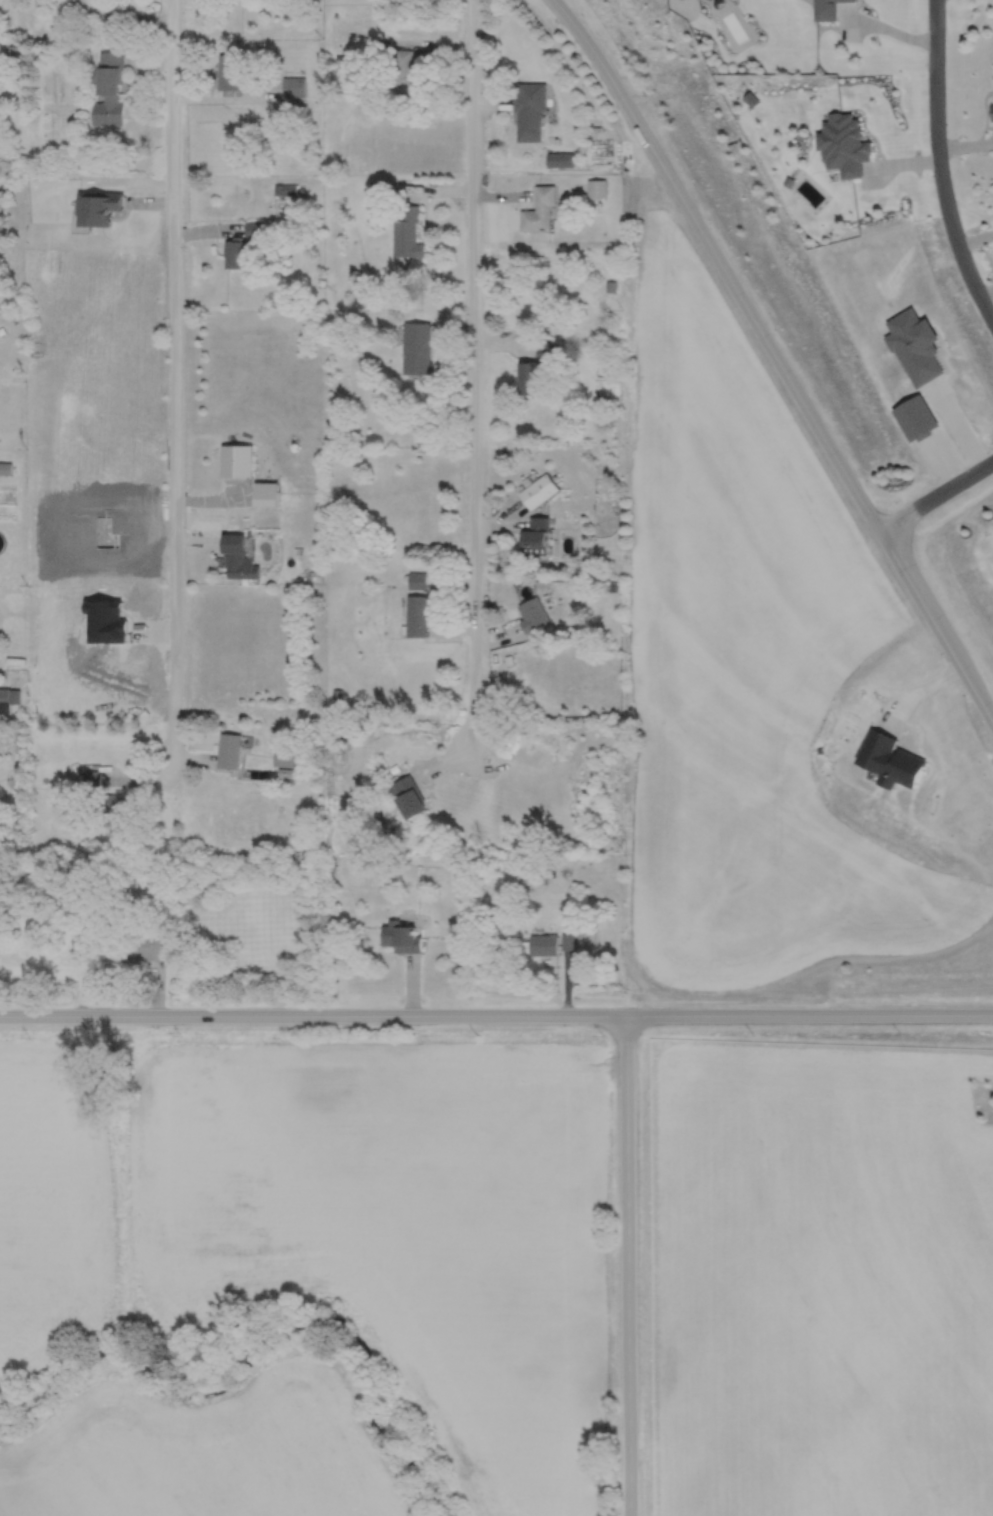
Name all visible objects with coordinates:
road: (675, 4)
road: (123, 17)
building: (230, 71)
building: (407, 71)
building: (292, 87)
building: (109, 91)
building: (527, 112)
road: (938, 159)
building: (554, 160)
building: (595, 189)
building: (538, 211)
building: (251, 230)
building: (407, 234)
building: (235, 255)
building: (416, 349)
road: (778, 358)
building: (535, 370)
road: (472, 375)
road: (175, 379)
building: (236, 462)
building: (5, 469)
building: (537, 492)
road: (938, 495)
building: (270, 500)
building: (536, 536)
building: (238, 559)
building: (416, 580)
building: (533, 614)
building: (416, 616)
building: (8, 700)
building: (336, 700)
building: (229, 751)
building: (283, 758)
building: (90, 780)
building: (410, 797)
building: (115, 810)
building: (531, 875)
building: (401, 937)
building: (567, 942)
building: (543, 945)
building: (143, 946)
road: (496, 1016)
road: (625, 1266)

